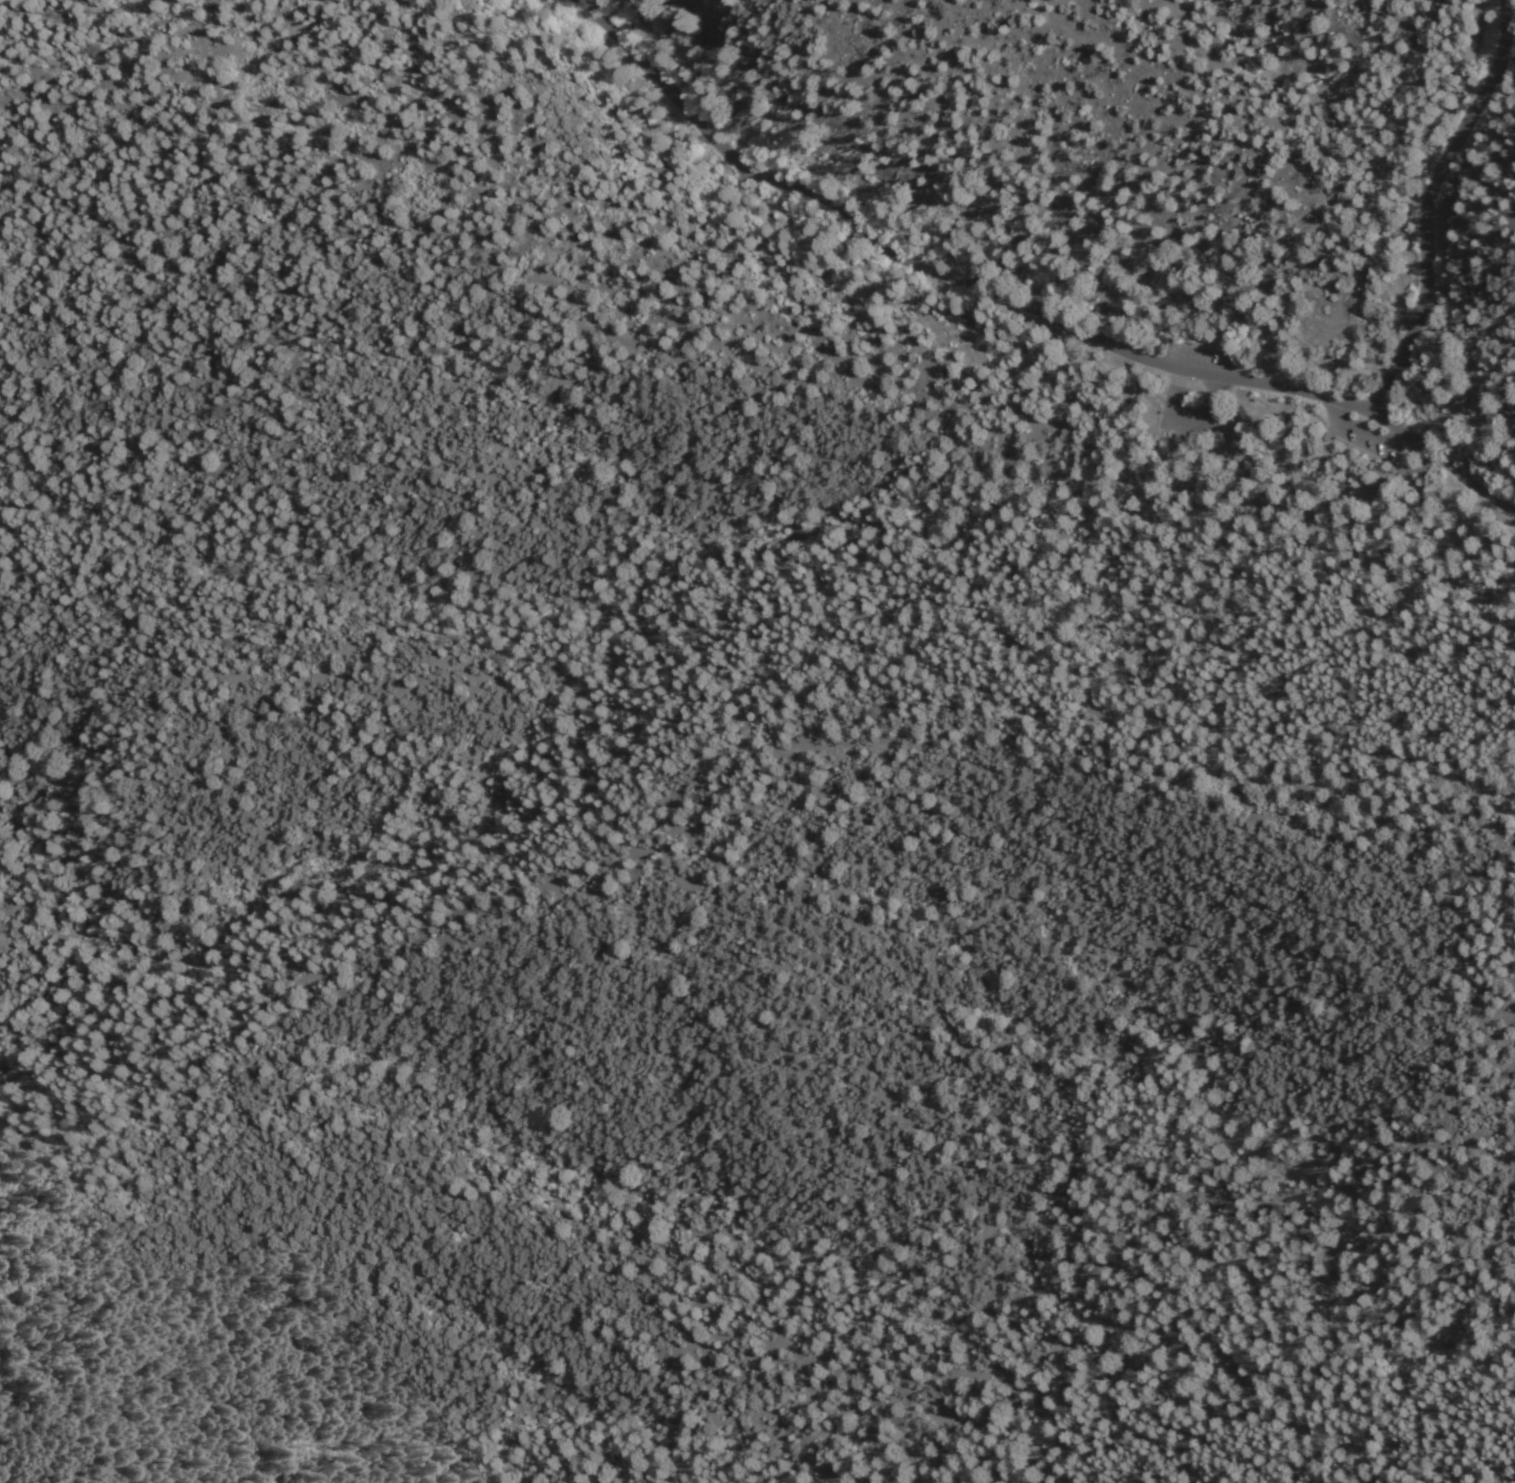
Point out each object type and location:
road: (1329, 126)
parking lot: (741, 172)
road: (1426, 199)
road: (1006, 217)
road: (923, 263)
road: (1173, 267)
road: (1131, 276)
road: (1113, 296)
road: (1151, 323)
parking lot: (1199, 356)
road: (1218, 388)
road: (1357, 400)
road: (1450, 402)
road: (1292, 410)
parking lot: (1184, 412)
building: (1241, 412)
road: (1390, 417)
road: (1360, 427)
road: (1410, 432)
road: (1403, 433)
parking lot: (1366, 434)
road: (1303, 455)
road: (1465, 472)

